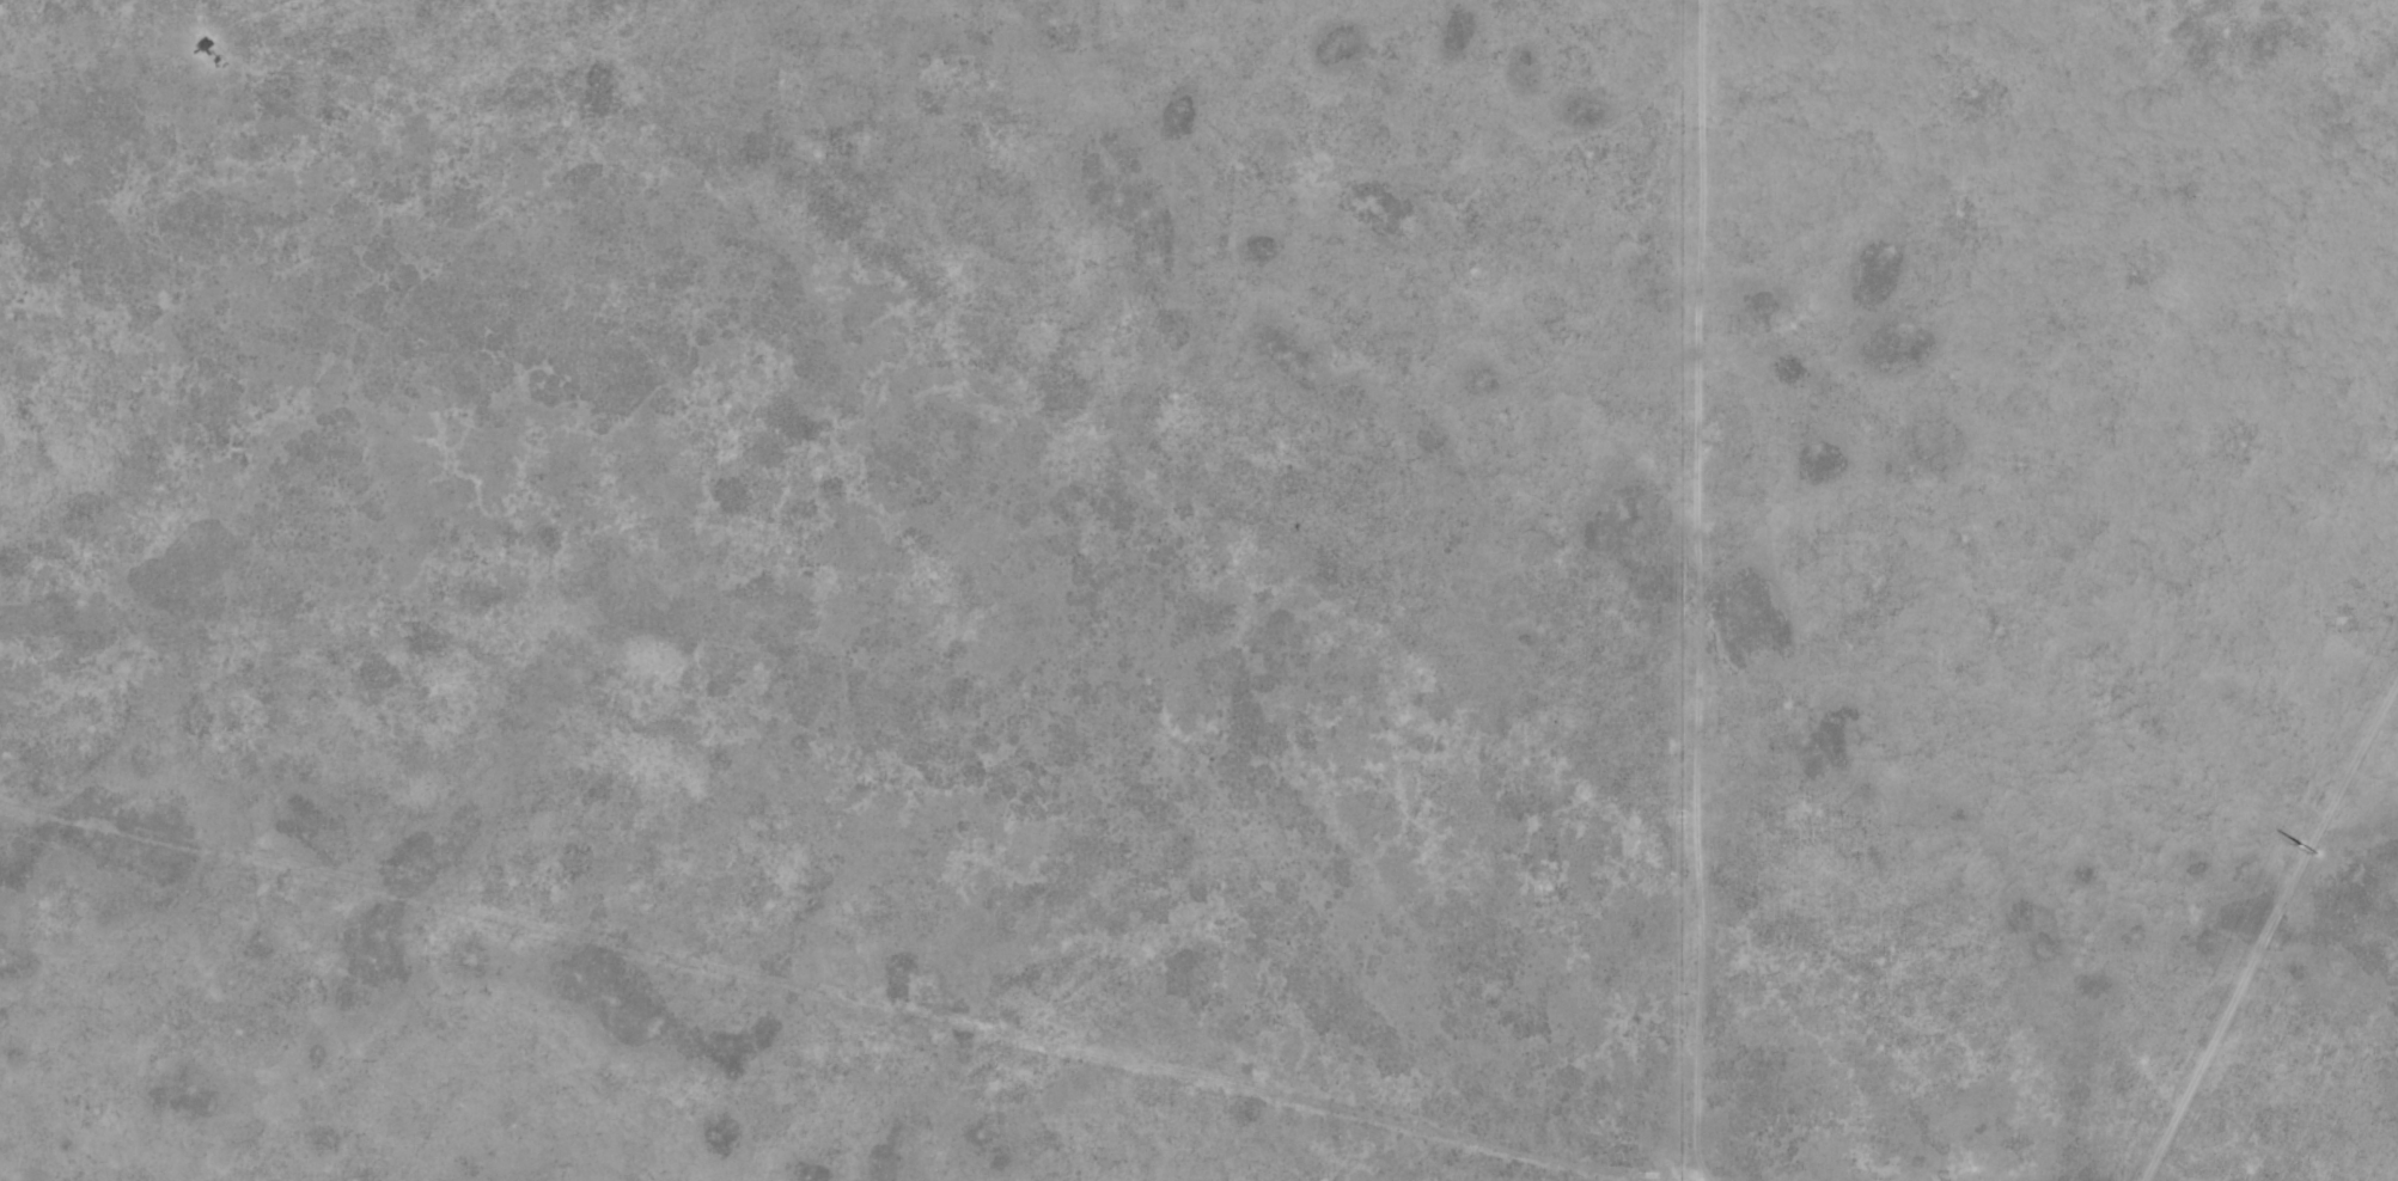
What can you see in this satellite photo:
power tower: (2312, 847)

